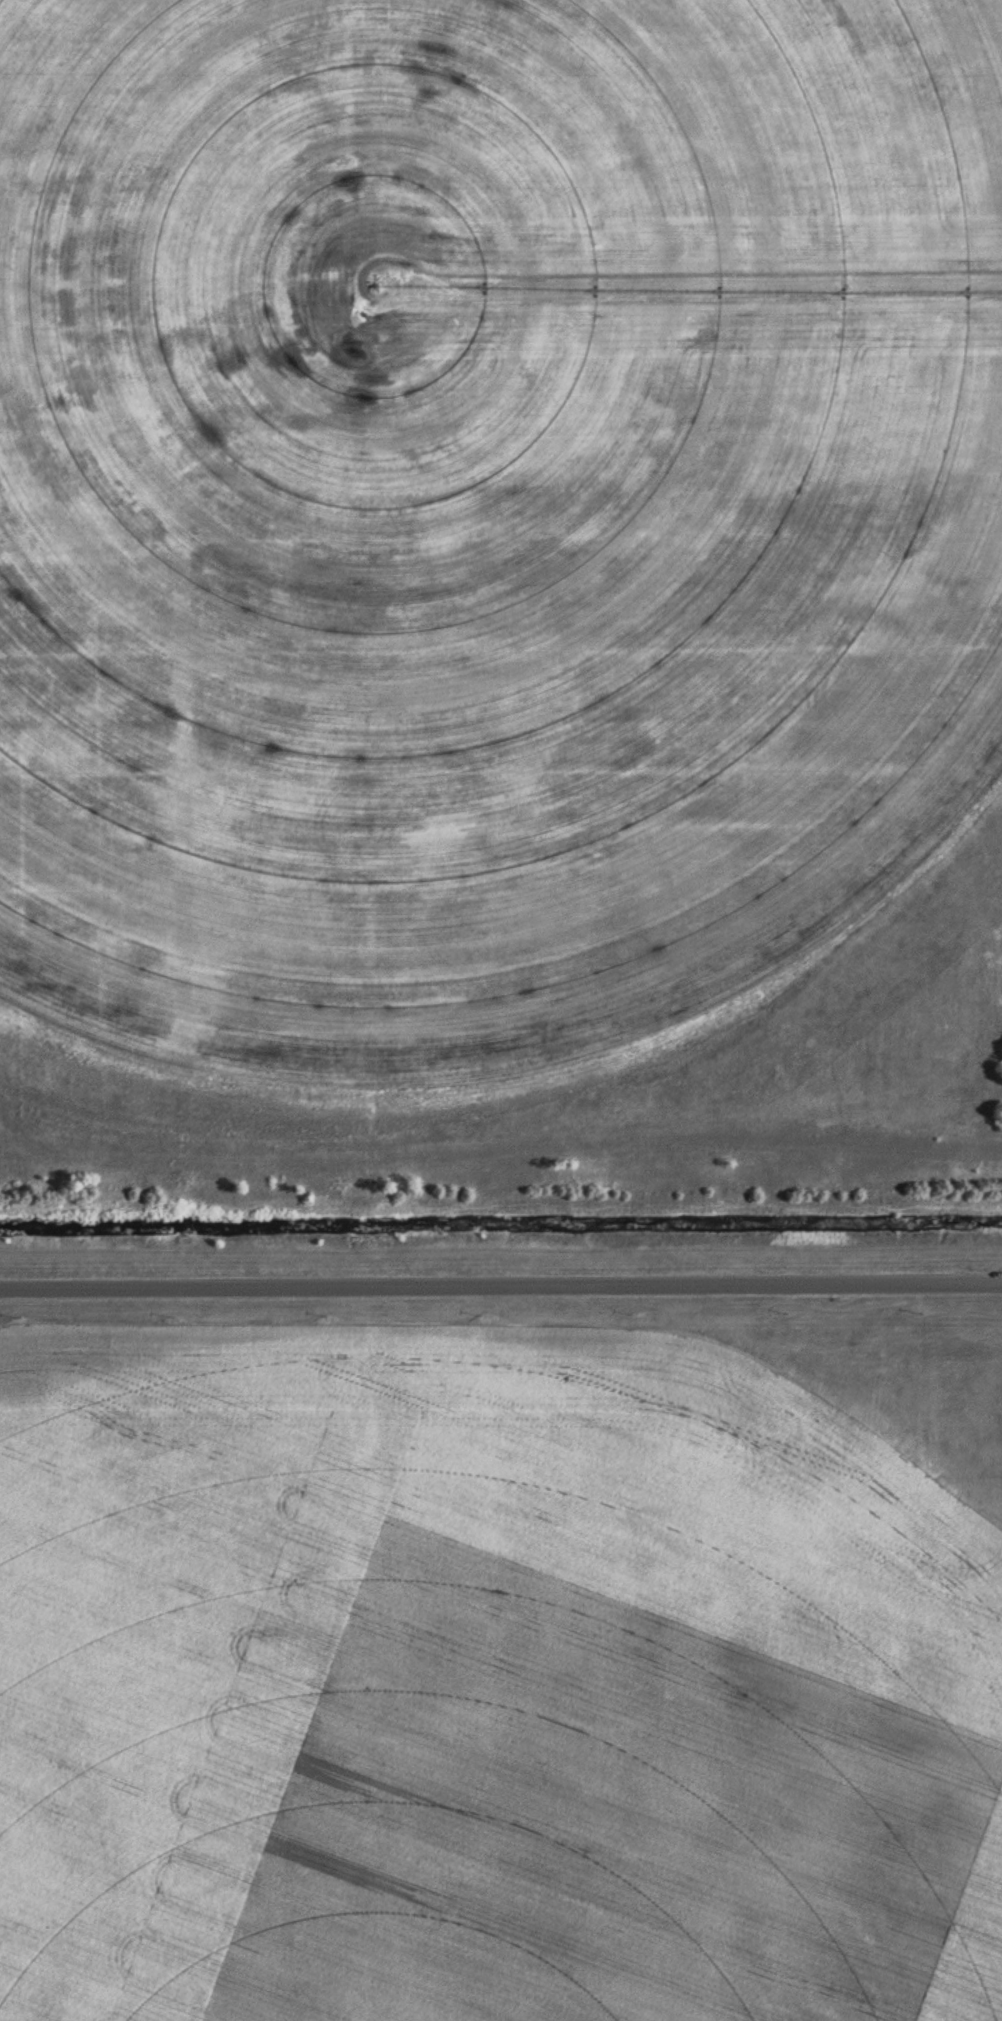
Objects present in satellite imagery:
wastewater plant: (501, 1010)
road: (501, 1283)

